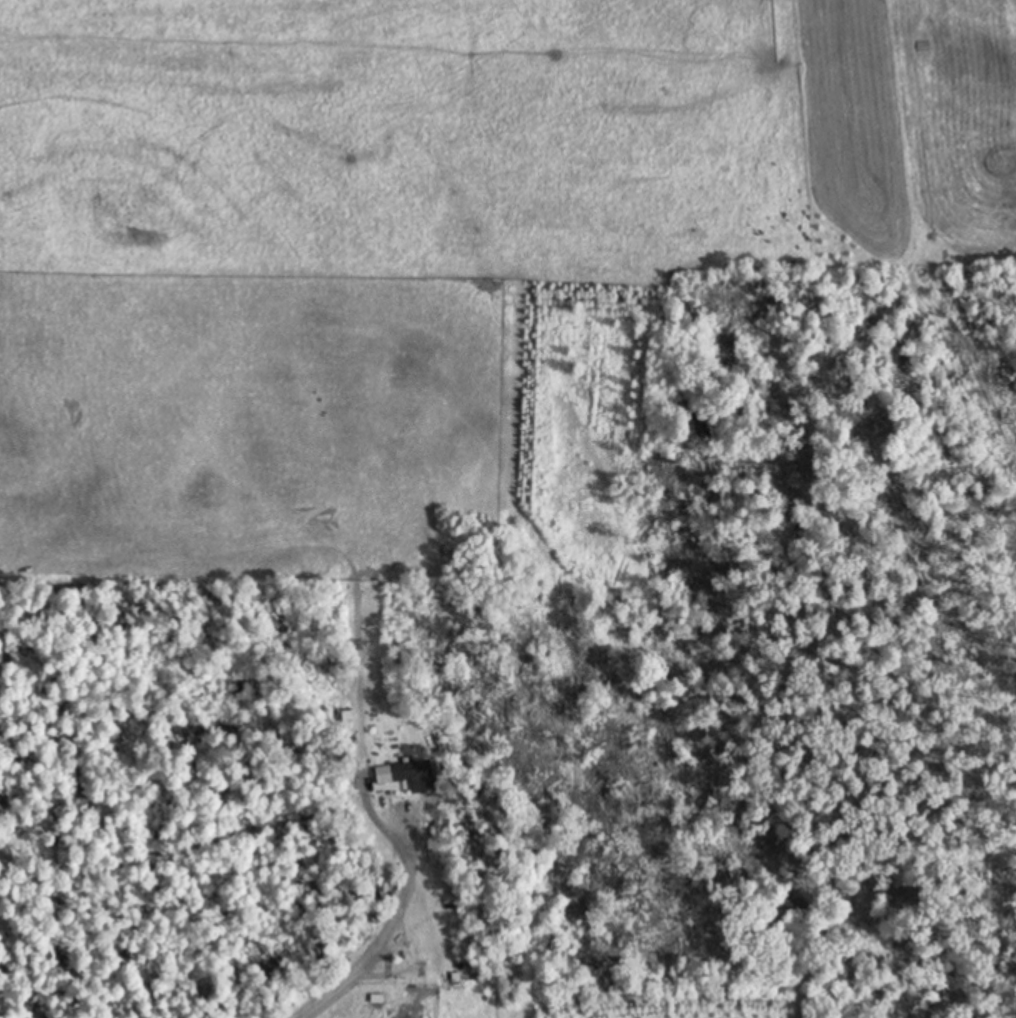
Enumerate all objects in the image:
building: (410, 777)
building: (457, 996)

